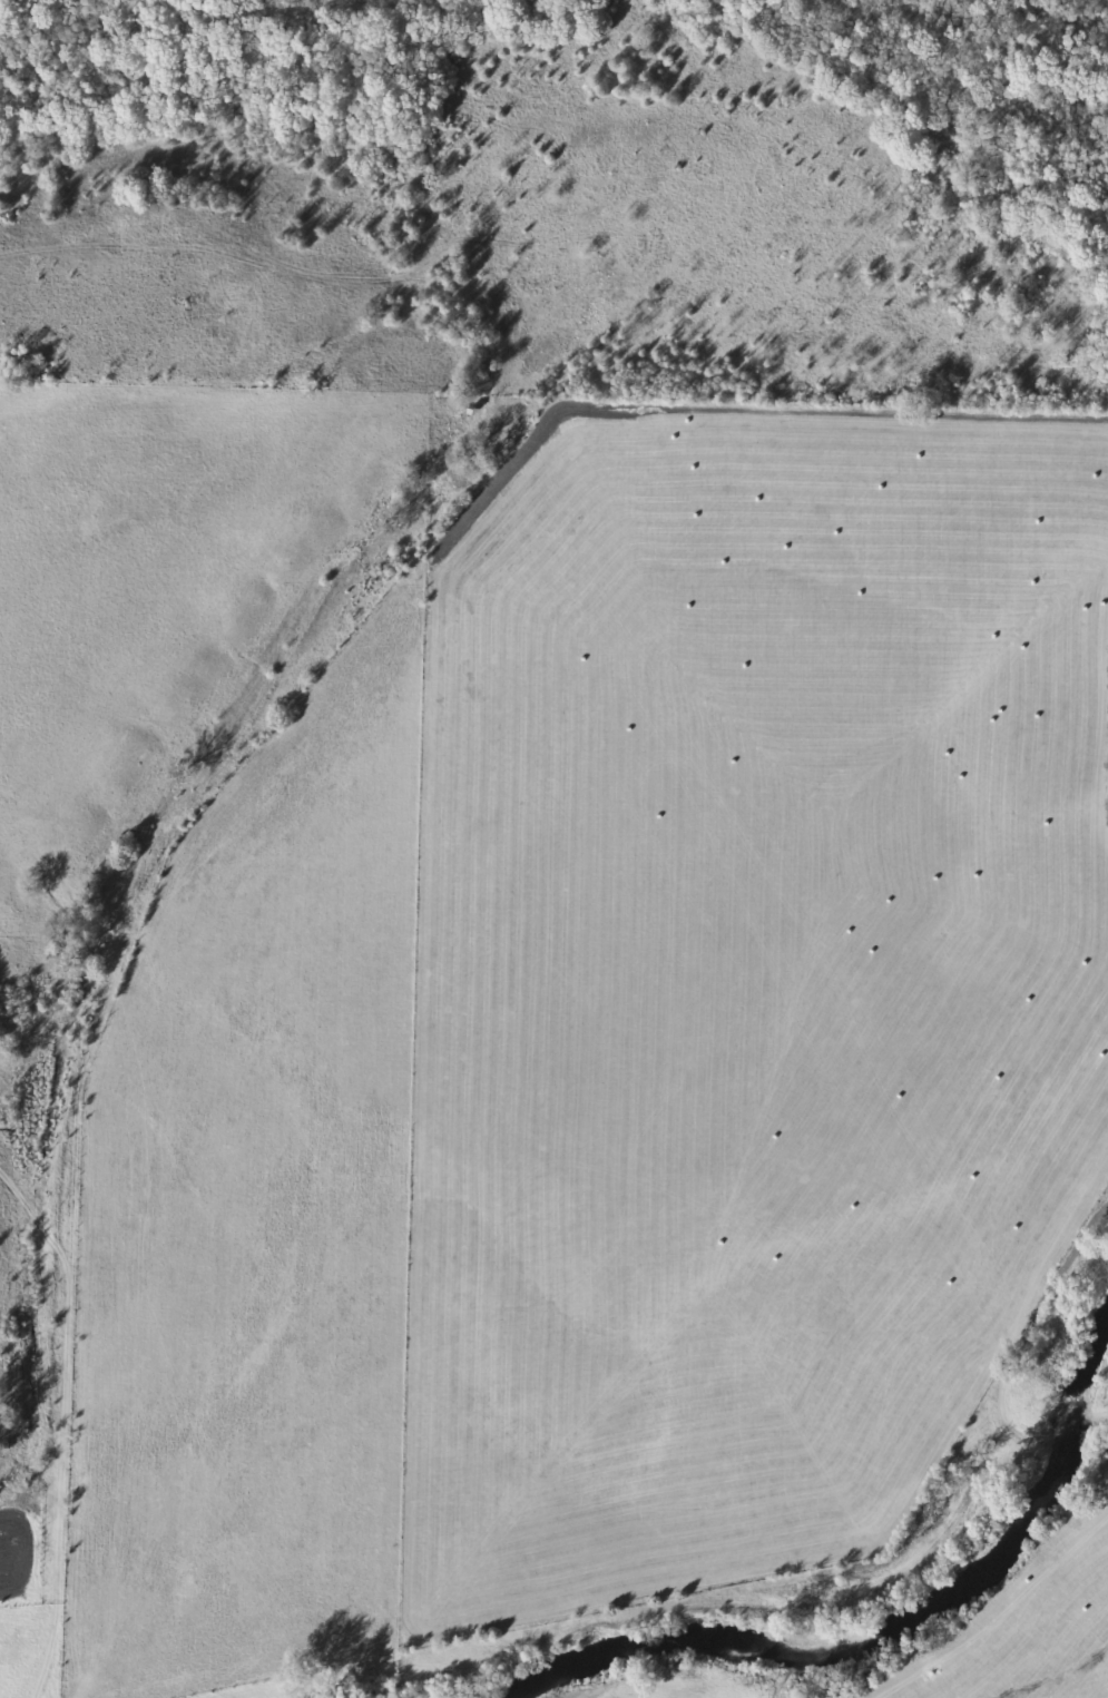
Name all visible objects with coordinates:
river: (873, 1640)

